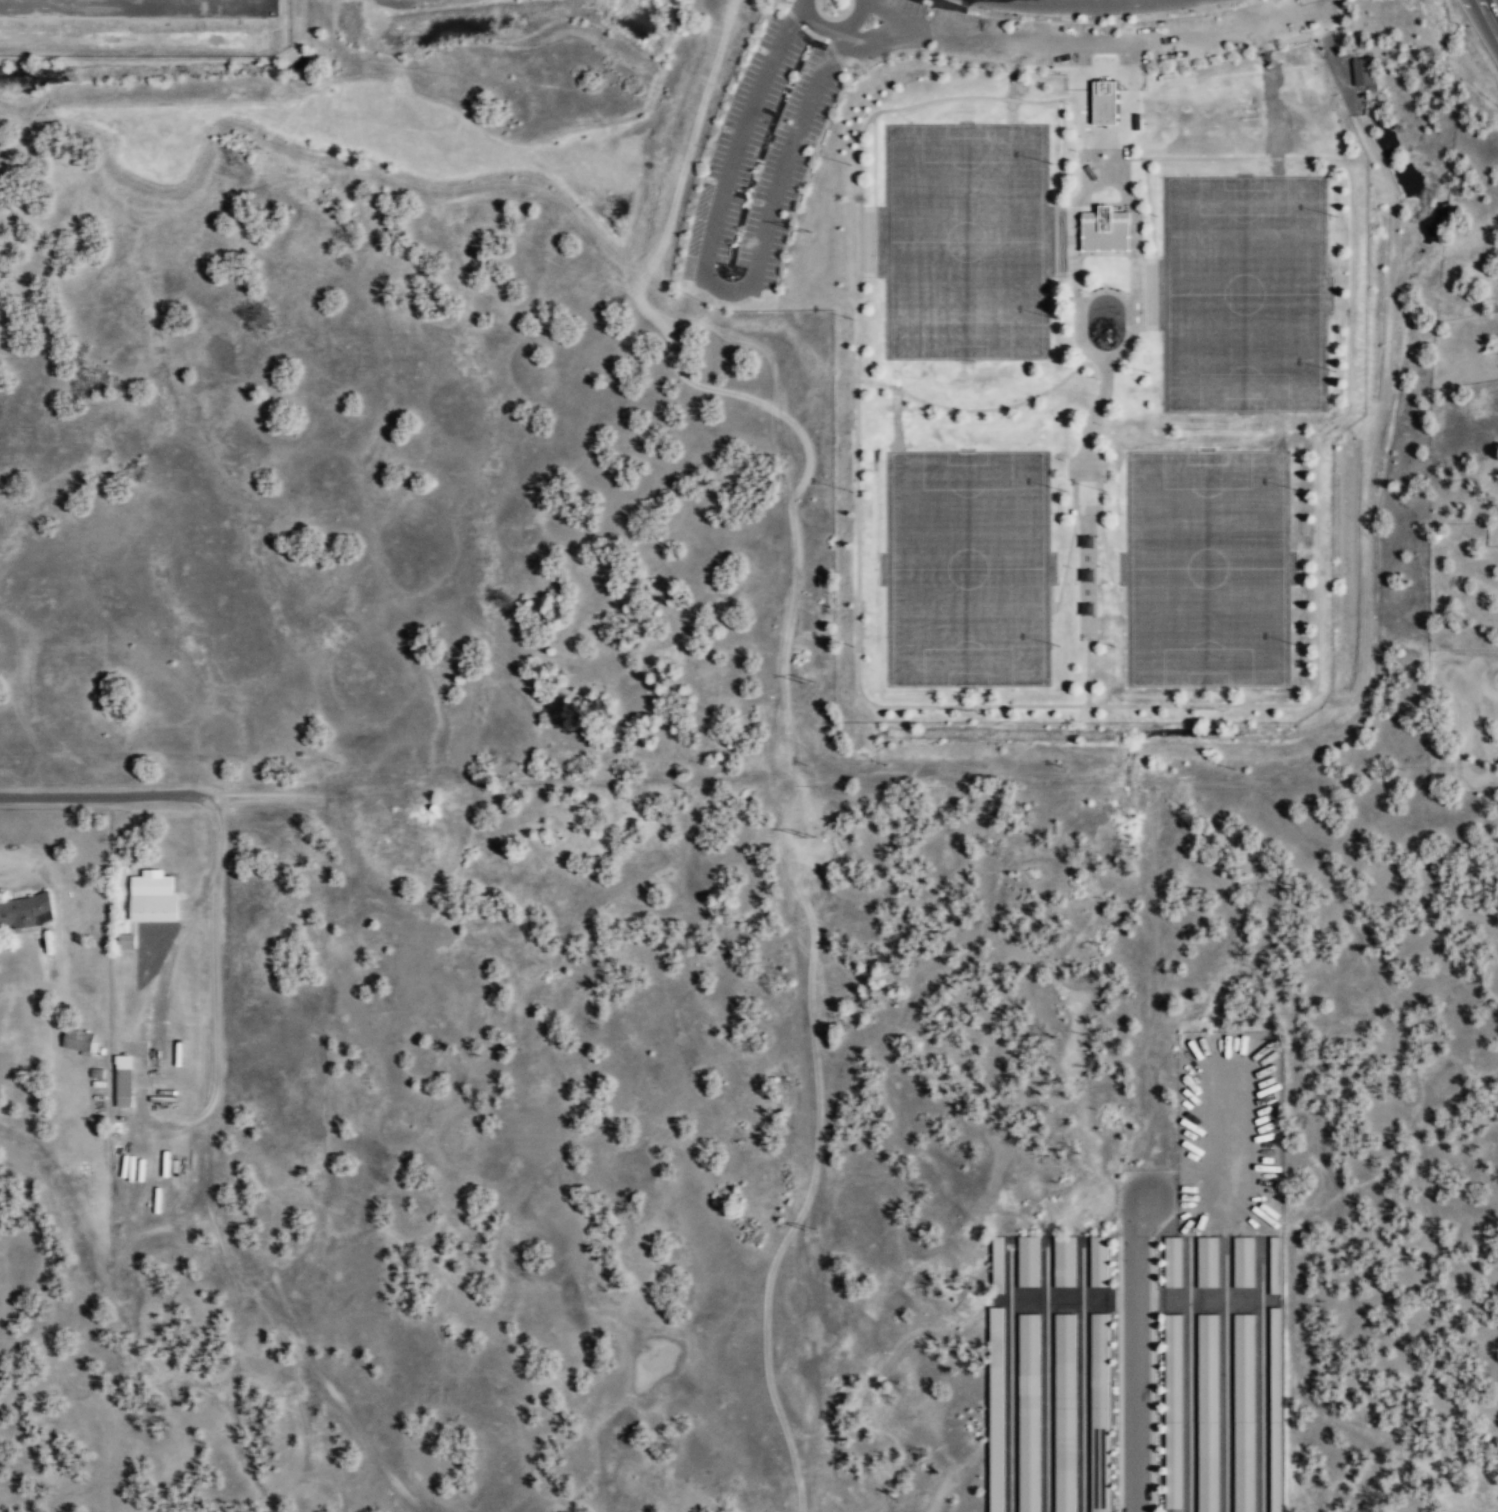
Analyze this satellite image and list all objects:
road: (773, 1)
road: (1084, 4)
road: (779, 5)
road: (1339, 14)
road: (794, 16)
road: (1489, 16)
road: (1326, 27)
road: (833, 30)
road: (814, 34)
road: (846, 38)
road: (1096, 43)
road: (836, 54)
road: (958, 57)
road: (1196, 58)
building: (1362, 71)
road: (848, 72)
road: (1067, 98)
building: (1104, 102)
road: (1101, 132)
road: (1104, 155)
parking lot: (759, 158)
road: (1123, 158)
road: (874, 168)
road: (803, 179)
road: (1104, 202)
road: (1064, 207)
road: (1135, 228)
road: (1073, 229)
power tower: (807, 230)
building: (1104, 230)
road: (860, 232)
park: (967, 242)
road: (1104, 254)
road: (1064, 274)
road: (747, 283)
park: (1243, 294)
road: (1146, 296)
road: (1077, 299)
road: (1132, 299)
road: (1128, 339)
road: (980, 409)
road: (1316, 457)
road: (1091, 469)
building: (1086, 541)
road: (1064, 567)
road: (1108, 567)
park: (1207, 568)
park: (969, 569)
road: (1087, 627)
road: (1087, 666)
power tower: (811, 680)
road: (56, 796)
power tower: (812, 831)
building: (152, 897)
building: (24, 910)
building: (125, 940)
building: (78, 1039)
building: (122, 1087)
power tower: (813, 1229)
building: (1063, 1260)
building: (1027, 1261)
building: (1098, 1261)
building: (1206, 1261)
building: (1243, 1261)
building: (1172, 1262)
building: (997, 1263)
building: (1274, 1265)
building: (1274, 1409)
building: (1028, 1412)
building: (1063, 1412)
building: (1098, 1412)
building: (1243, 1412)
building: (1172, 1413)
building: (1207, 1413)

